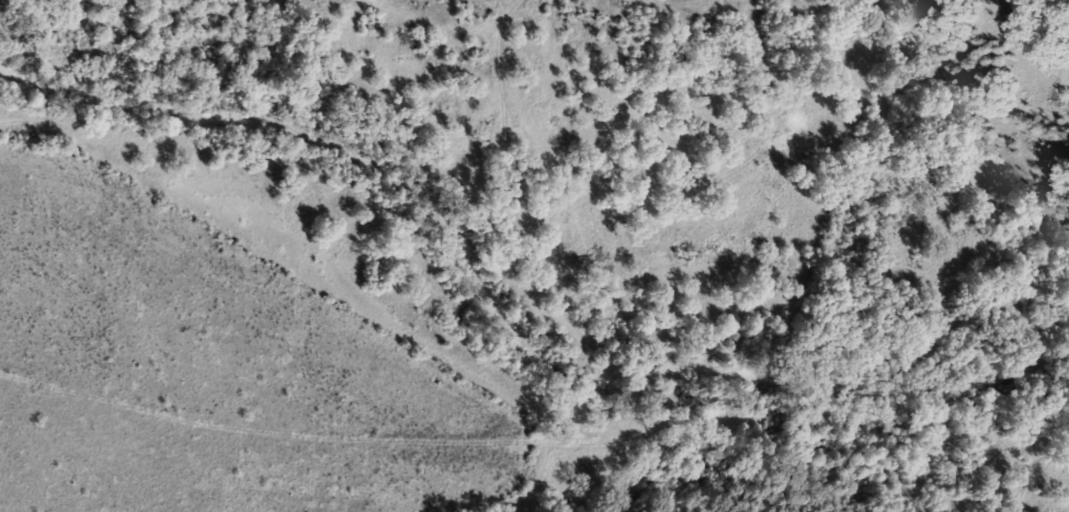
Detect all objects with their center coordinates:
road: (895, 315)

